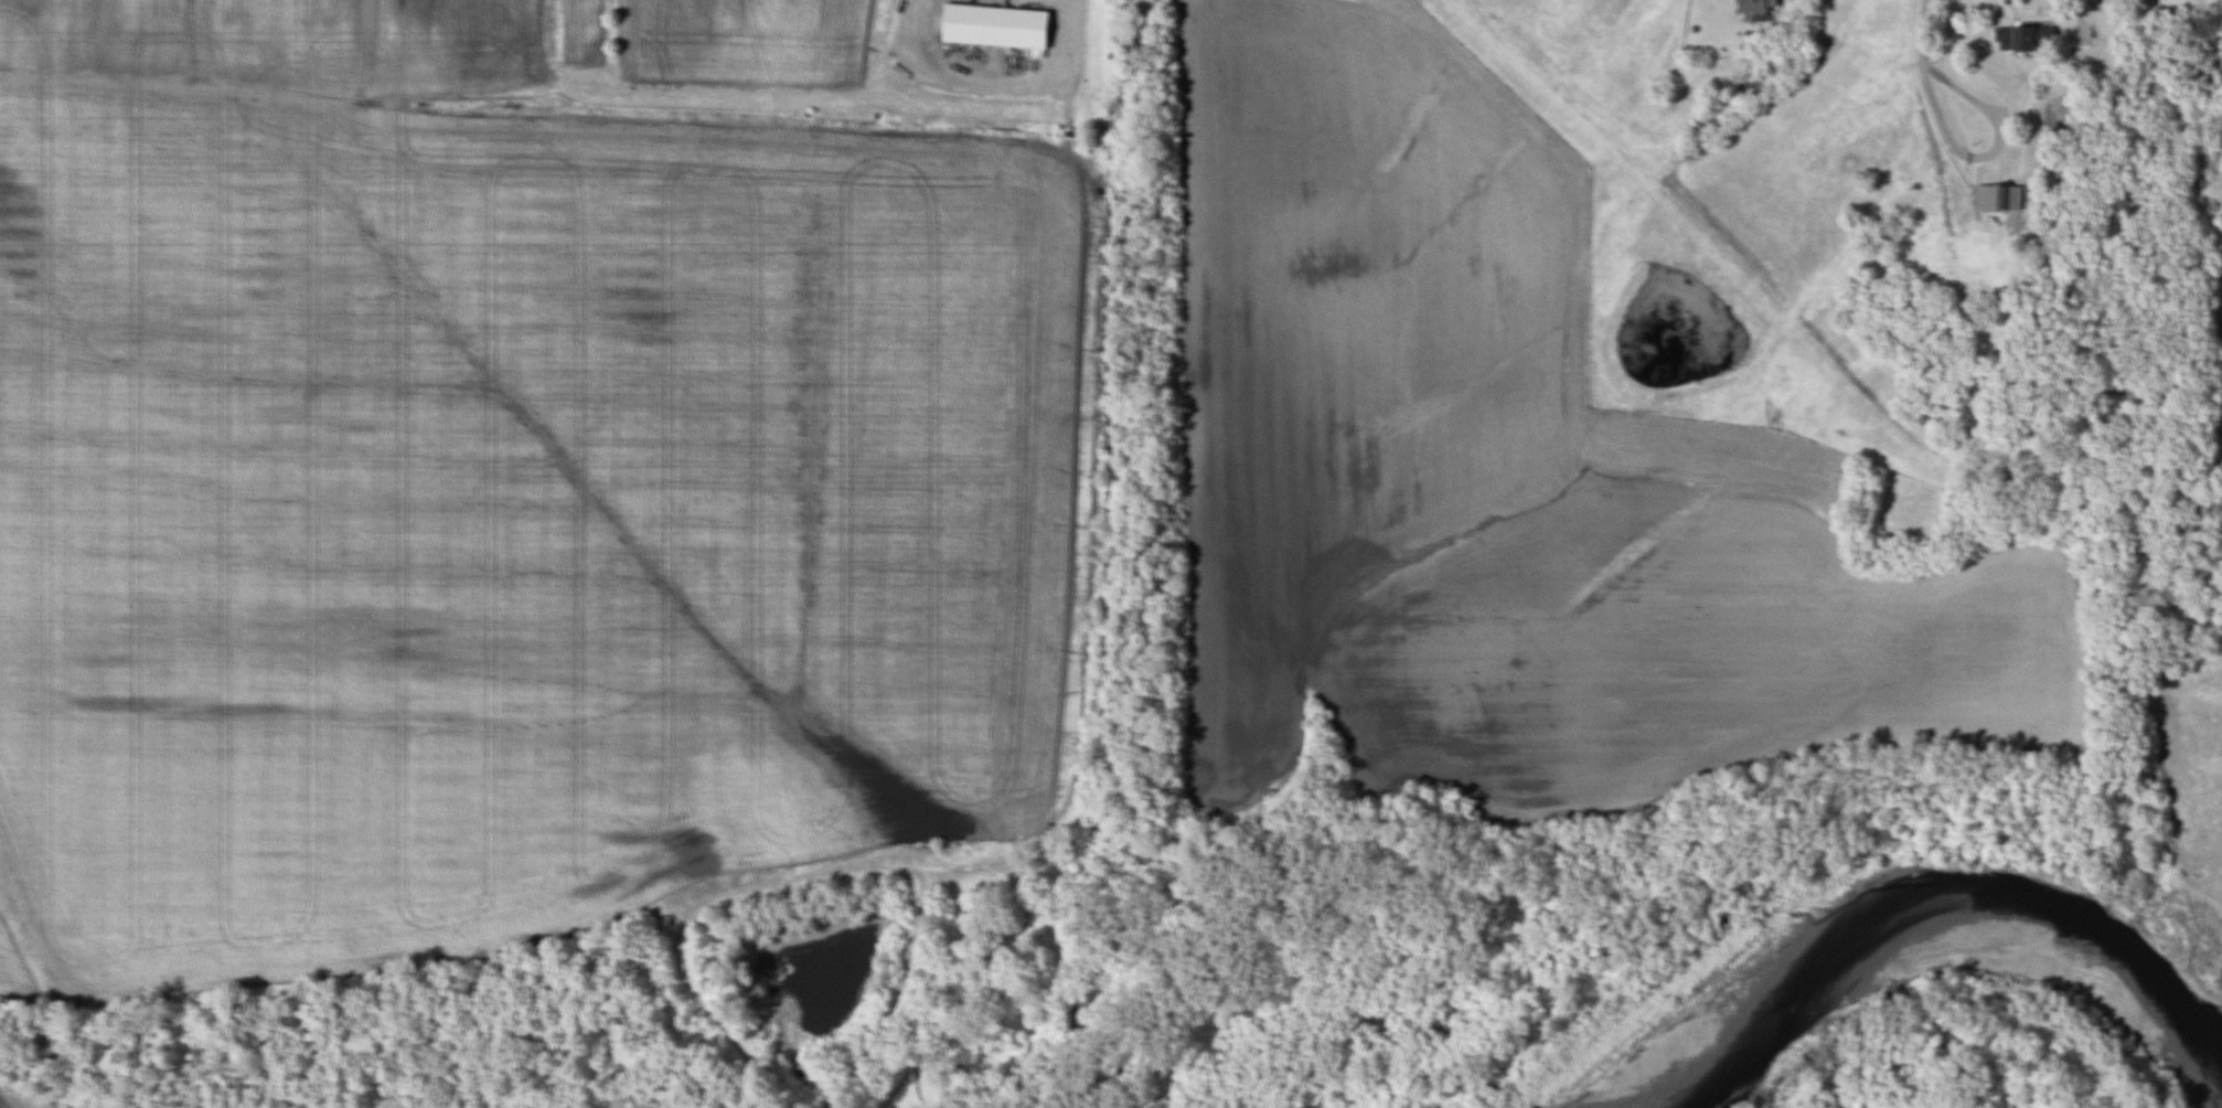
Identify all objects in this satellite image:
building: (1754, 6)
building: (2220, 20)
building: (991, 25)
building: (2020, 39)
building: (1996, 196)
crop: (506, 472)
crop: (1499, 481)
river: (1889, 895)

